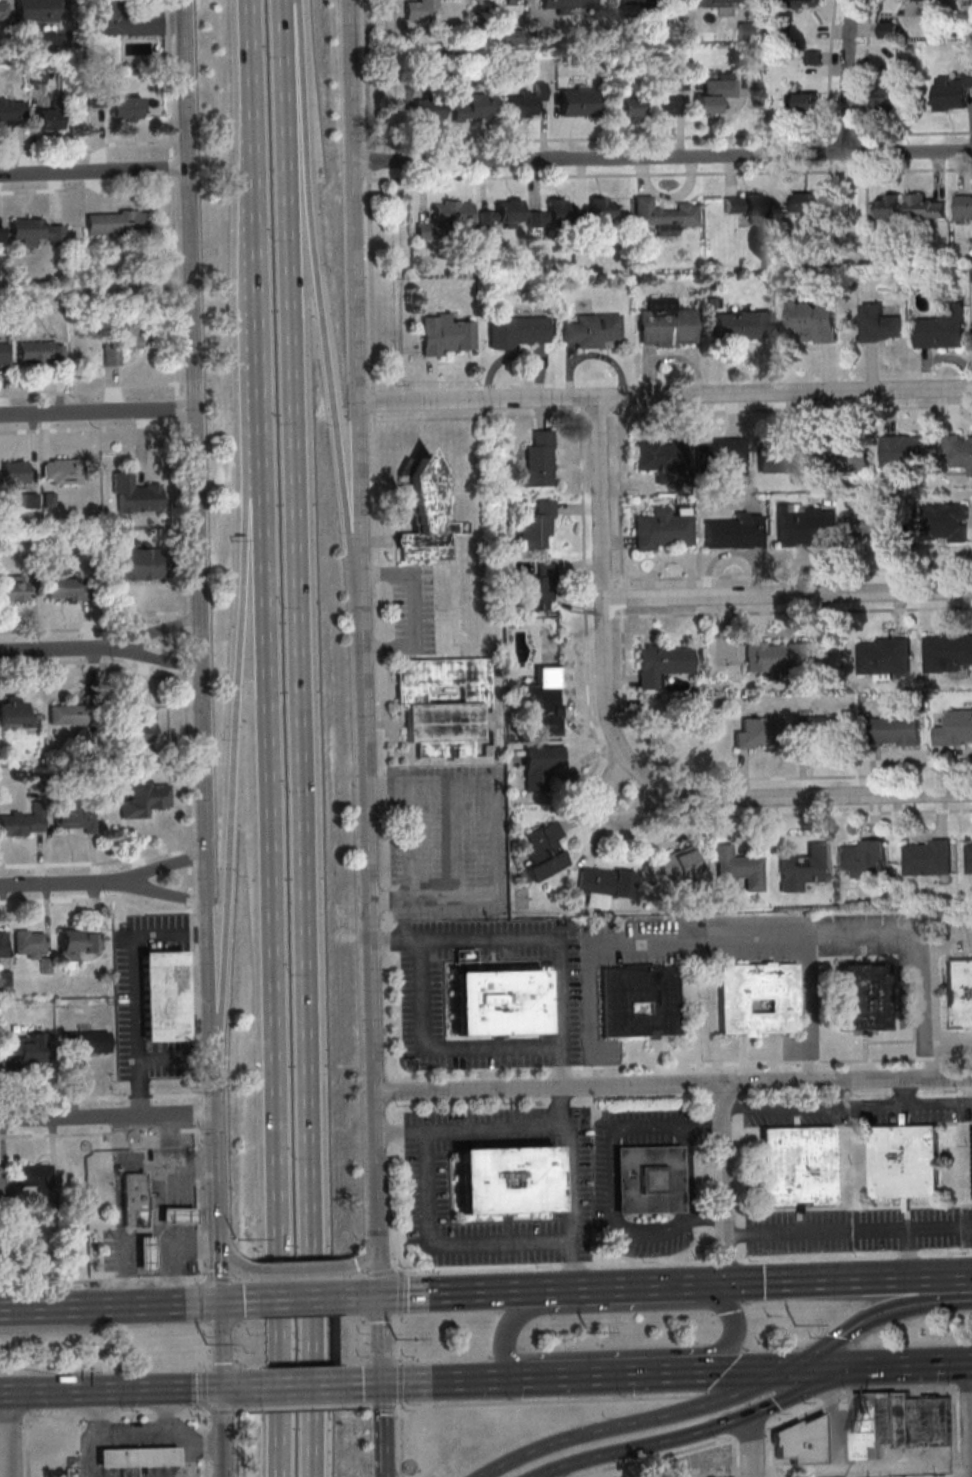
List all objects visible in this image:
road: (291, 1)
building: (513, 1)
building: (723, 1)
building: (635, 2)
building: (805, 2)
building: (566, 5)
building: (418, 8)
building: (4, 12)
building: (37, 12)
building: (126, 20)
building: (889, 29)
building: (749, 30)
building: (802, 31)
road: (254, 52)
road: (846, 75)
building: (38, 80)
building: (952, 92)
building: (715, 94)
building: (96, 97)
building: (888, 98)
building: (526, 100)
building: (578, 101)
building: (803, 102)
building: (664, 103)
building: (630, 106)
building: (124, 108)
building: (476, 108)
building: (429, 109)
building: (10, 112)
building: (49, 119)
road: (663, 158)
road: (93, 171)
building: (807, 203)
building: (745, 206)
building: (964, 206)
building: (601, 207)
building: (889, 207)
building: (924, 207)
building: (503, 214)
building: (551, 214)
building: (664, 214)
building: (445, 219)
building: (118, 222)
building: (34, 231)
building: (1, 235)
road: (261, 298)
road: (356, 301)
road: (323, 302)
building: (813, 321)
building: (667, 324)
building: (742, 324)
building: (879, 324)
building: (942, 327)
building: (517, 331)
building: (592, 331)
building: (447, 335)
building: (121, 340)
building: (41, 352)
building: (4, 354)
road: (373, 360)
road: (665, 395)
road: (374, 400)
road: (673, 411)
road: (96, 412)
building: (904, 451)
building: (957, 451)
road: (375, 454)
building: (841, 454)
building: (779, 455)
building: (655, 456)
building: (718, 457)
building: (538, 461)
building: (61, 471)
building: (15, 474)
building: (135, 494)
building: (429, 516)
building: (942, 521)
building: (873, 522)
building: (537, 526)
building: (799, 527)
building: (659, 530)
building: (735, 531)
road: (197, 539)
road: (621, 561)
building: (138, 564)
road: (793, 574)
road: (609, 580)
building: (13, 588)
building: (68, 588)
building: (538, 588)
road: (788, 595)
road: (411, 608)
road: (793, 611)
road: (609, 616)
road: (301, 625)
road: (160, 633)
road: (183, 638)
road: (61, 649)
building: (946, 652)
building: (882, 655)
building: (780, 656)
road: (161, 657)
building: (663, 663)
building: (546, 699)
building: (440, 704)
building: (14, 713)
building: (69, 714)
building: (140, 727)
building: (955, 728)
building: (820, 730)
building: (895, 730)
building: (758, 733)
road: (625, 754)
building: (541, 766)
road: (743, 773)
road: (857, 774)
road: (235, 784)
building: (145, 799)
road: (583, 813)
road: (605, 816)
building: (75, 818)
building: (23, 822)
road: (498, 836)
building: (544, 851)
building: (864, 857)
building: (968, 857)
building: (926, 858)
road: (368, 863)
building: (678, 864)
road: (161, 868)
building: (801, 868)
building: (737, 869)
road: (275, 870)
road: (58, 884)
building: (605, 885)
road: (162, 891)
road: (948, 930)
road: (755, 937)
road: (539, 938)
building: (75, 943)
building: (29, 944)
building: (2, 946)
road: (135, 991)
building: (959, 993)
building: (162, 996)
building: (857, 996)
building: (753, 998)
building: (635, 1000)
building: (494, 1003)
road: (927, 1004)
road: (806, 1008)
road: (588, 1015)
building: (90, 1043)
road: (435, 1048)
building: (24, 1049)
road: (959, 1056)
road: (931, 1057)
road: (866, 1059)
road: (808, 1061)
road: (700, 1063)
road: (584, 1066)
road: (593, 1066)
road: (672, 1085)
road: (969, 1103)
road: (212, 1104)
road: (881, 1104)
road: (948, 1104)
road: (789, 1107)
road: (106, 1117)
road: (398, 1133)
building: (902, 1162)
building: (794, 1167)
road: (152, 1168)
building: (34, 1175)
road: (214, 1175)
road: (608, 1175)
building: (503, 1180)
building: (645, 1180)
building: (0, 1182)
road: (721, 1183)
road: (426, 1185)
road: (566, 1187)
building: (131, 1200)
road: (375, 1210)
building: (174, 1216)
road: (847, 1231)
road: (146, 1232)
road: (192, 1243)
road: (218, 1243)
building: (143, 1253)
road: (910, 1253)
road: (363, 1257)
road: (229, 1259)
road: (216, 1261)
road: (300, 1268)
road: (401, 1270)
road: (959, 1274)
road: (381, 1275)
road: (202, 1277)
road: (354, 1277)
road: (300, 1279)
road: (807, 1279)
road: (100, 1280)
road: (217, 1280)
road: (245, 1281)
traffic signals: (724, 1283)
road: (580, 1287)
road: (434, 1292)
road: (399, 1295)
road: (360, 1296)
traffic signals: (378, 1296)
road: (301, 1298)
road: (239, 1301)
road: (696, 1302)
traffic signals: (220, 1303)
road: (120, 1306)
road: (10, 1309)
road: (125, 1310)
road: (873, 1316)
power tower: (794, 1323)
road: (200, 1324)
road: (80, 1325)
power tower: (587, 1331)
power tower: (393, 1337)
road: (380, 1339)
road: (319, 1340)
road: (399, 1341)
power tower: (206, 1343)
road: (287, 1343)
road: (220, 1346)
road: (916, 1364)
traffic signals: (860, 1366)
road: (824, 1367)
traffic signals: (789, 1369)
road: (745, 1370)
road: (609, 1374)
road: (448, 1380)
traffic signals: (379, 1383)
road: (361, 1384)
road: (301, 1386)
road: (400, 1386)
road: (239, 1388)
road: (865, 1388)
traffic signals: (220, 1389)
road: (109, 1390)
road: (203, 1391)
road: (358, 1405)
road: (384, 1405)
road: (302, 1407)
road: (398, 1408)
road: (245, 1409)
road: (220, 1410)
road: (192, 1413)
road: (970, 1413)
road: (165, 1414)
road: (132, 1415)
road: (96, 1416)
building: (886, 1417)
road: (53, 1418)
road: (10, 1419)
building: (901, 1419)
road: (633, 1421)
building: (928, 1422)
road: (204, 1423)
road: (829, 1425)
road: (380, 1426)
building: (865, 1426)
road: (699, 1430)
road: (750, 1431)
road: (953, 1431)
road: (131, 1432)
road: (220, 1433)
road: (8, 1434)
road: (401, 1441)
building: (798, 1442)
road: (750, 1444)
road: (193, 1445)
road: (204, 1447)
road: (24, 1448)
road: (768, 1453)
road: (89, 1455)
road: (319, 1455)
road: (656, 1456)
road: (734, 1456)
road: (286, 1457)
building: (133, 1458)
road: (188, 1461)
road: (884, 1466)
building: (68, 1467)
road: (205, 1468)
road: (382, 1474)
building: (896, 1476)

